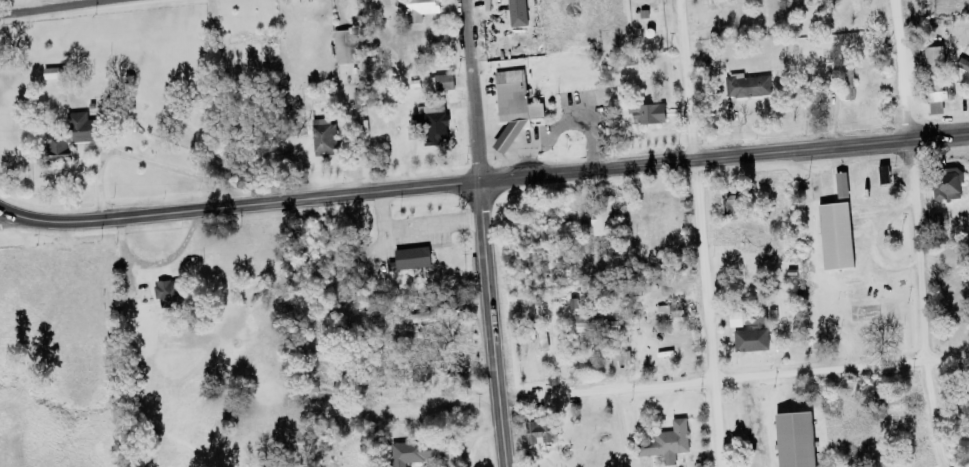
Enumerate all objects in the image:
building: (709, 1)
road: (48, 6)
building: (420, 8)
building: (518, 12)
building: (250, 39)
building: (345, 46)
building: (963, 64)
road: (896, 69)
building: (845, 73)
building: (937, 79)
building: (442, 82)
building: (747, 85)
road: (469, 91)
building: (358, 99)
building: (514, 106)
building: (648, 113)
building: (434, 122)
building: (323, 136)
building: (68, 137)
road: (722, 155)
building: (948, 183)
building: (842, 185)
road: (237, 204)
building: (733, 206)
road: (4, 216)
building: (601, 219)
road: (413, 225)
road: (697, 233)
building: (836, 235)
road: (869, 240)
road: (914, 248)
building: (411, 258)
building: (167, 292)
building: (670, 310)
building: (582, 323)
road: (489, 325)
building: (751, 339)
building: (621, 357)
building: (457, 364)
road: (732, 375)
building: (539, 433)
building: (796, 439)
building: (667, 442)
building: (418, 451)

